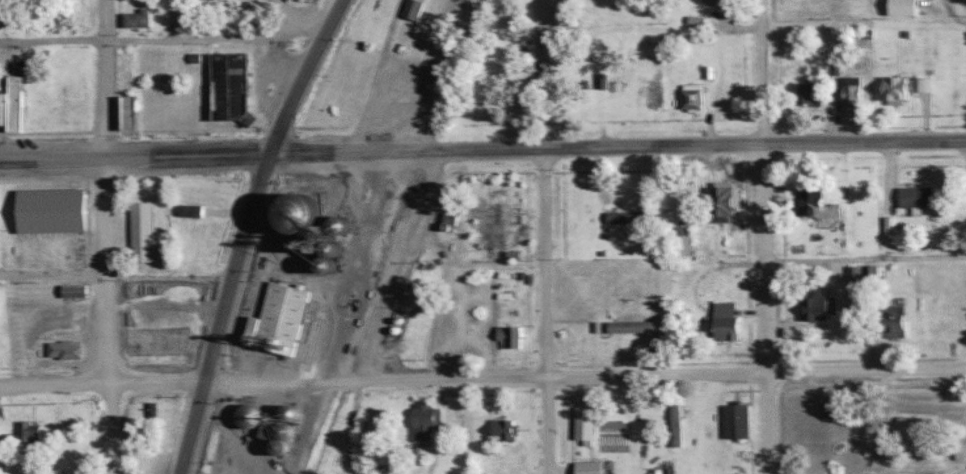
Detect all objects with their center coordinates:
building: (719, 2)
building: (901, 8)
building: (412, 10)
building: (135, 20)
road: (161, 38)
road: (760, 71)
road: (541, 74)
road: (302, 75)
road: (103, 78)
building: (227, 84)
building: (851, 90)
building: (895, 90)
building: (809, 94)
building: (652, 95)
building: (691, 96)
building: (13, 101)
building: (394, 101)
building: (3, 108)
building: (128, 111)
road: (617, 146)
road: (134, 156)
building: (571, 194)
building: (915, 198)
building: (719, 209)
building: (818, 210)
building: (503, 212)
building: (295, 216)
building: (625, 218)
building: (339, 226)
building: (140, 232)
building: (681, 242)
building: (329, 258)
road: (52, 273)
building: (649, 277)
building: (870, 277)
building: (853, 280)
building: (73, 292)
road: (765, 309)
building: (819, 309)
road: (545, 310)
road: (222, 313)
road: (106, 315)
building: (278, 318)
building: (937, 321)
building: (724, 322)
building: (892, 323)
building: (585, 333)
building: (508, 340)
building: (62, 351)
road: (756, 371)
road: (273, 382)
building: (248, 418)
building: (422, 421)
building: (266, 422)
building: (735, 422)
building: (583, 426)
building: (501, 433)
building: (635, 433)
building: (24, 436)
building: (421, 449)
building: (587, 469)

